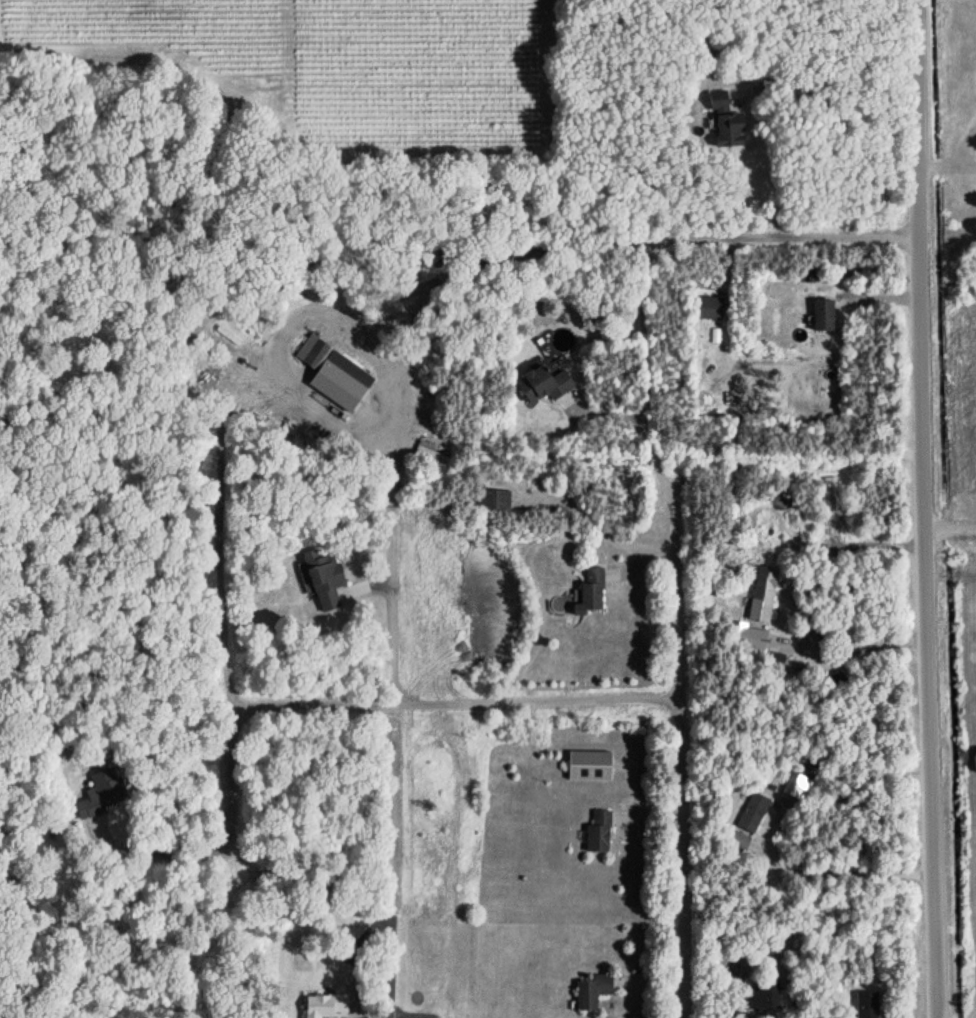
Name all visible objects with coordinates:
crop: (335, 60)
road: (842, 78)
building: (724, 121)
road: (454, 267)
building: (708, 308)
building: (821, 316)
building: (332, 373)
building: (542, 381)
road: (658, 484)
building: (493, 500)
road: (929, 509)
road: (953, 535)
building: (324, 579)
building: (589, 591)
building: (761, 593)
building: (746, 635)
road: (854, 651)
road: (398, 698)
road: (547, 705)
road: (220, 763)
building: (589, 765)
building: (798, 787)
building: (101, 795)
building: (753, 812)
building: (597, 832)
building: (737, 840)
road: (850, 873)
building: (591, 991)
building: (761, 997)
building: (866, 1004)
building: (323, 1005)

